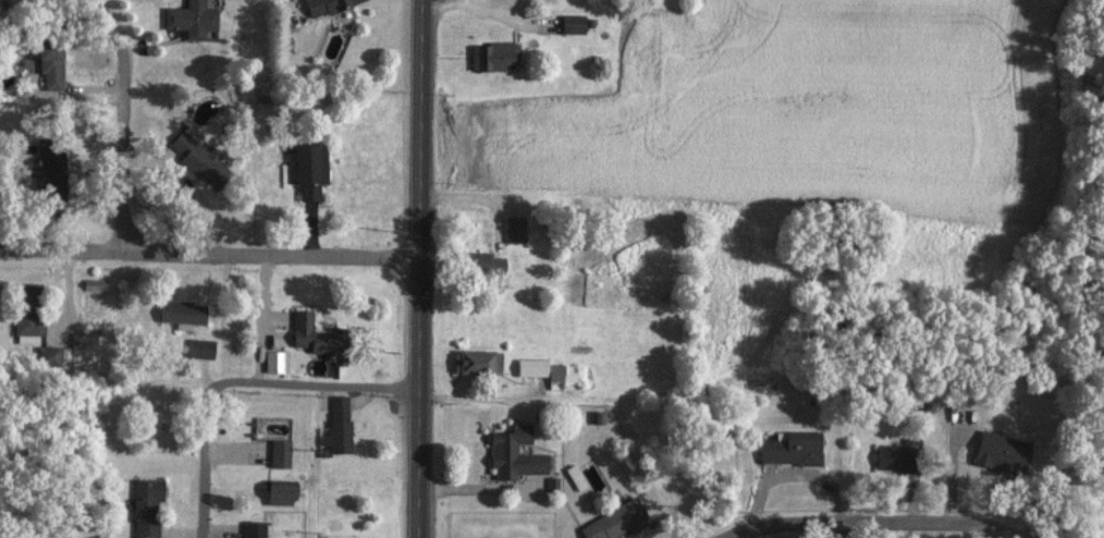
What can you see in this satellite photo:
building: (322, 5)
building: (188, 19)
building: (571, 23)
building: (491, 54)
building: (48, 62)
road: (122, 121)
building: (194, 154)
building: (48, 168)
building: (307, 169)
building: (513, 229)
road: (208, 254)
building: (481, 262)
road: (416, 268)
building: (93, 284)
building: (25, 311)
building: (180, 311)
road: (262, 318)
building: (317, 338)
building: (75, 346)
building: (199, 347)
building: (47, 355)
building: (274, 360)
building: (475, 360)
building: (529, 366)
building: (559, 375)
road: (309, 383)
building: (336, 425)
building: (789, 448)
building: (278, 452)
building: (1001, 452)
building: (512, 453)
building: (891, 457)
road: (205, 465)
building: (573, 476)
building: (278, 491)
building: (144, 506)
building: (614, 519)
road: (862, 521)
building: (252, 529)

